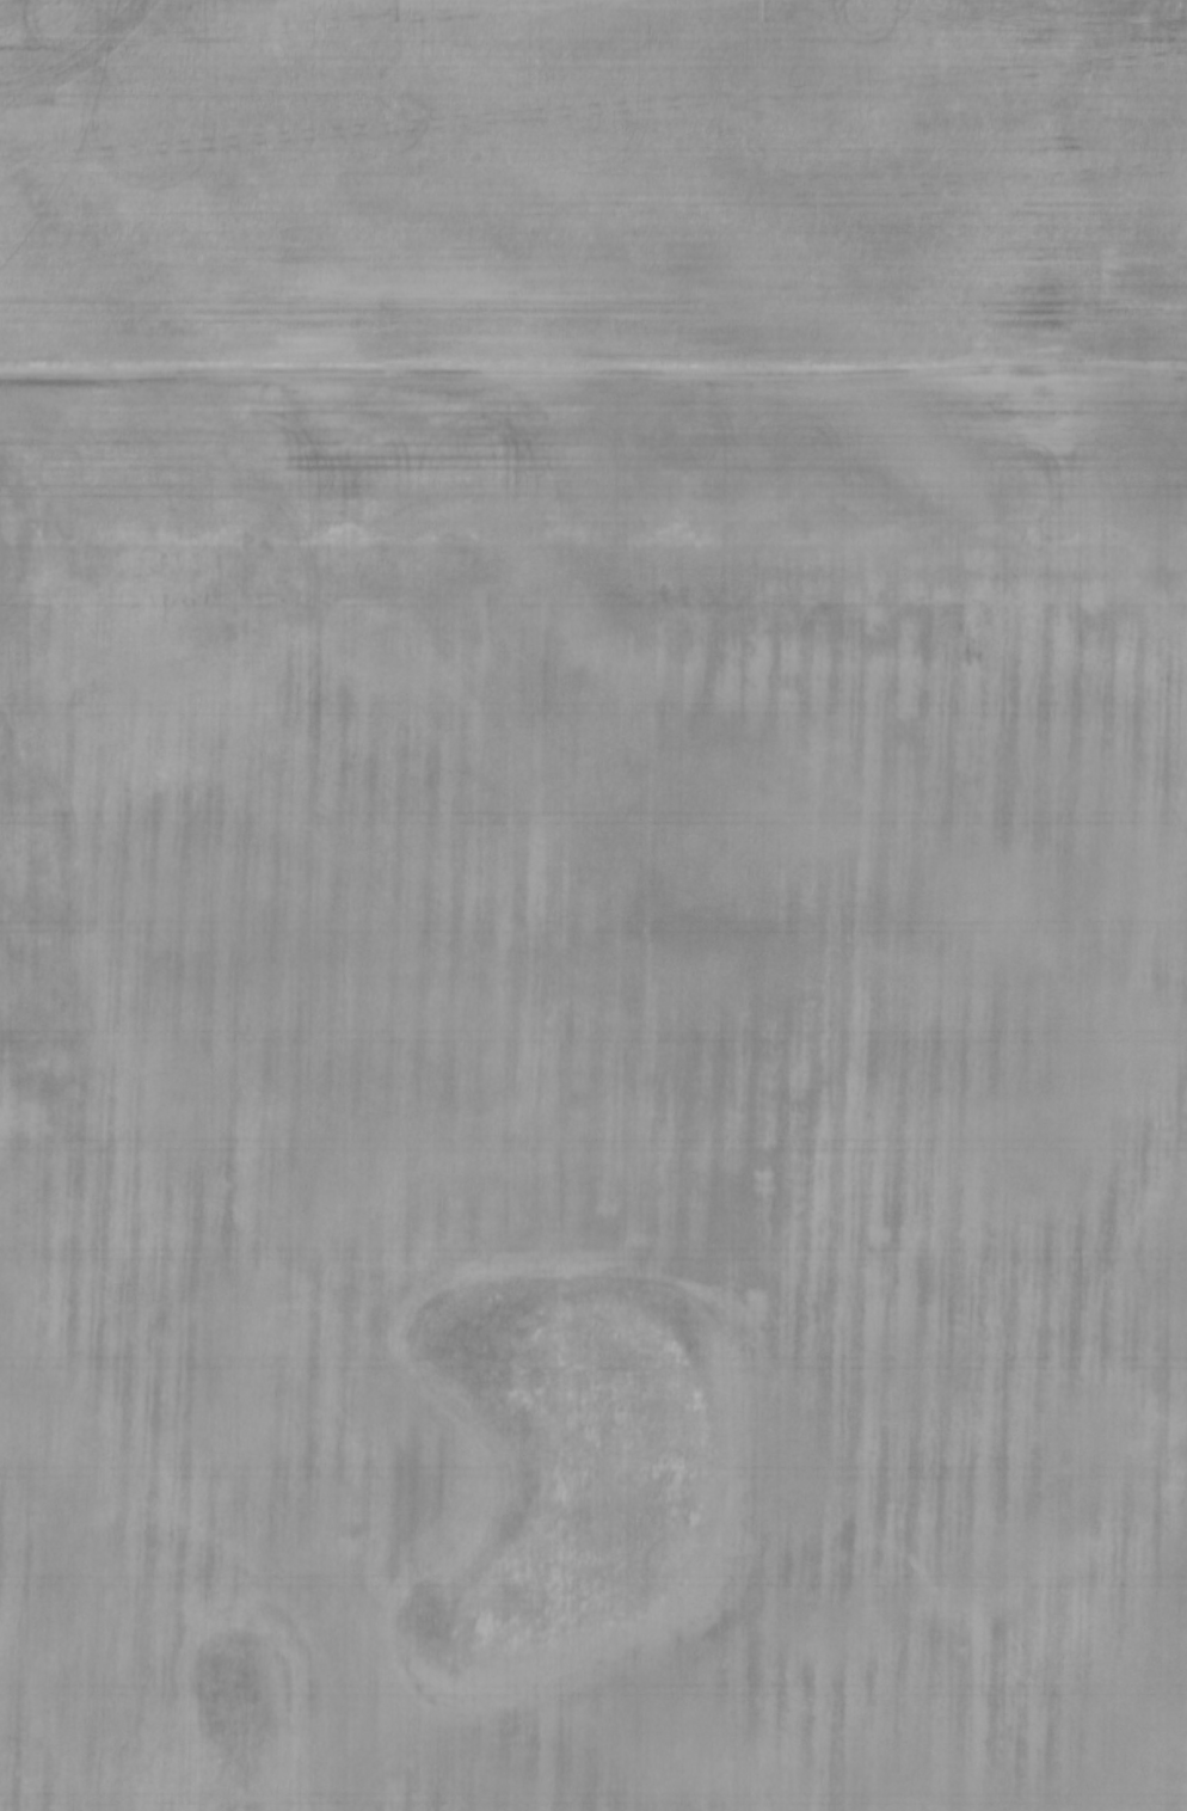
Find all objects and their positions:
road: (593, 374)

